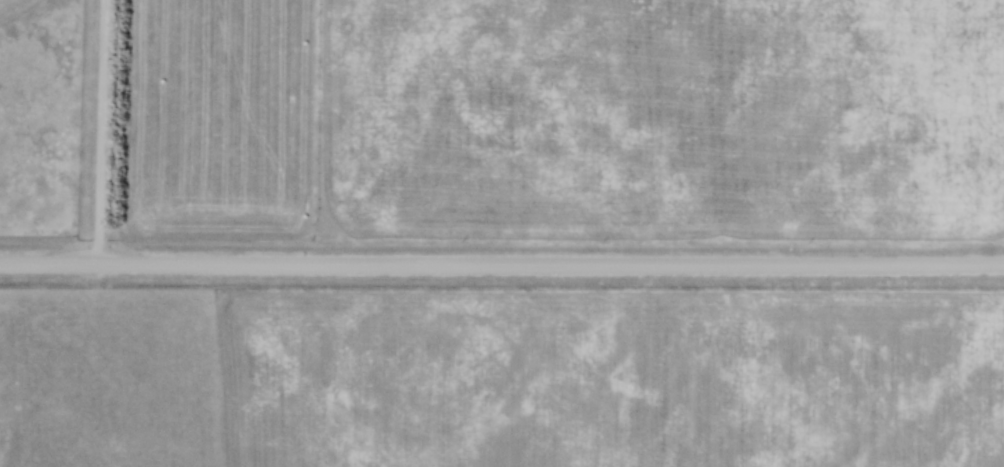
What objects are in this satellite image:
road: (97, 131)
road: (501, 264)

